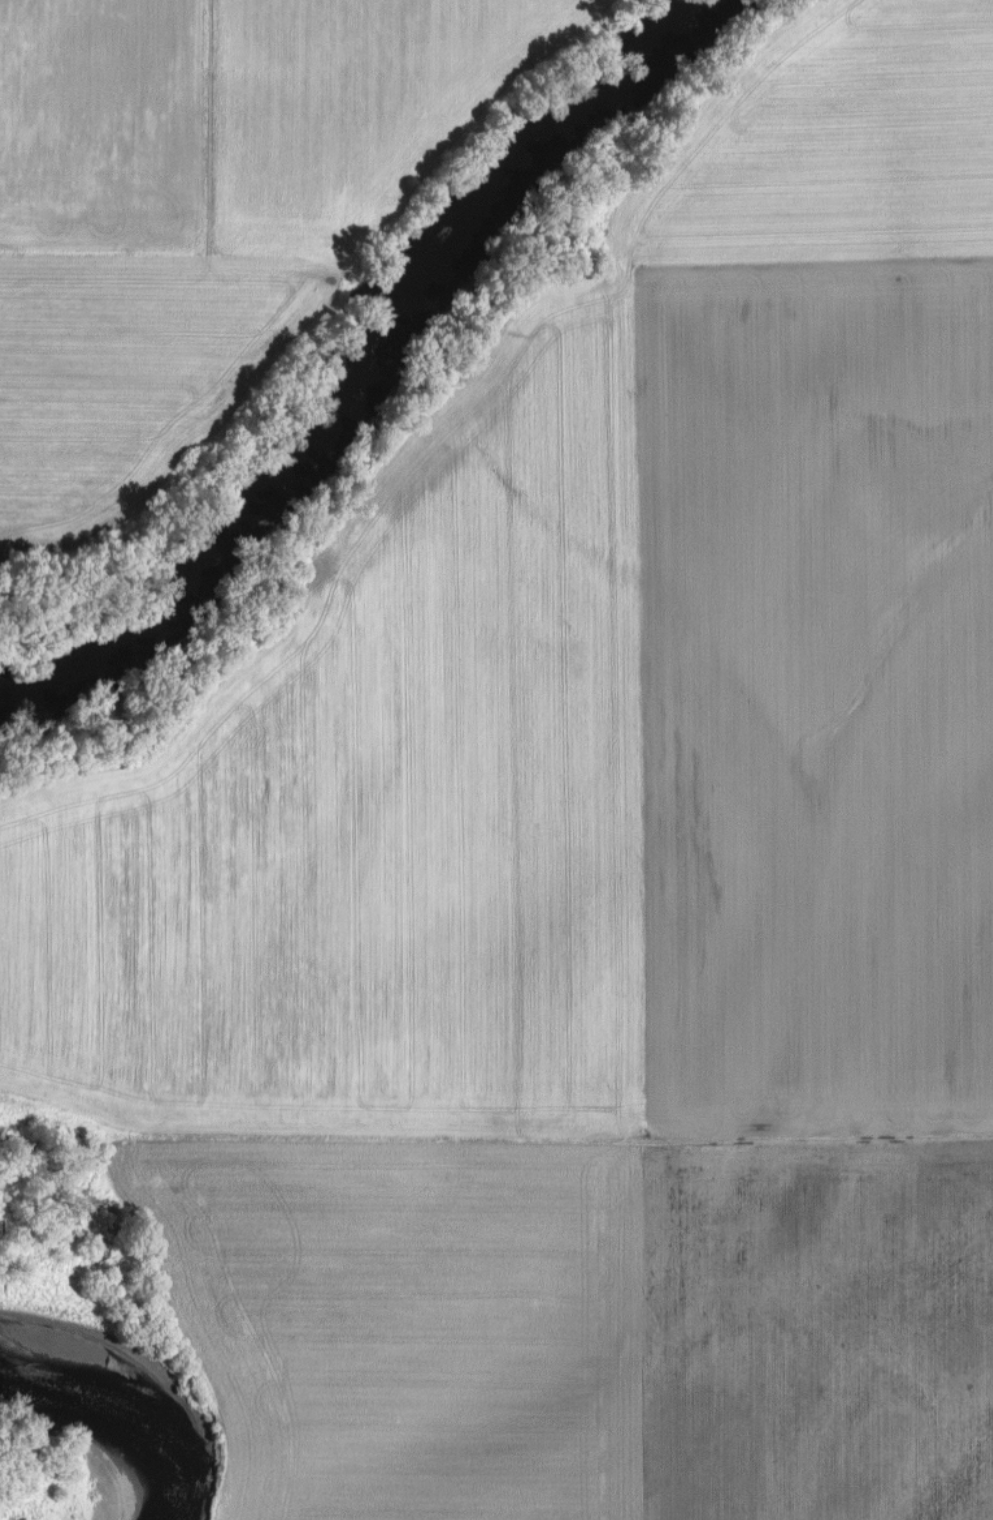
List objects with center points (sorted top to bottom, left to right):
river: (382, 377)
river: (141, 1387)

